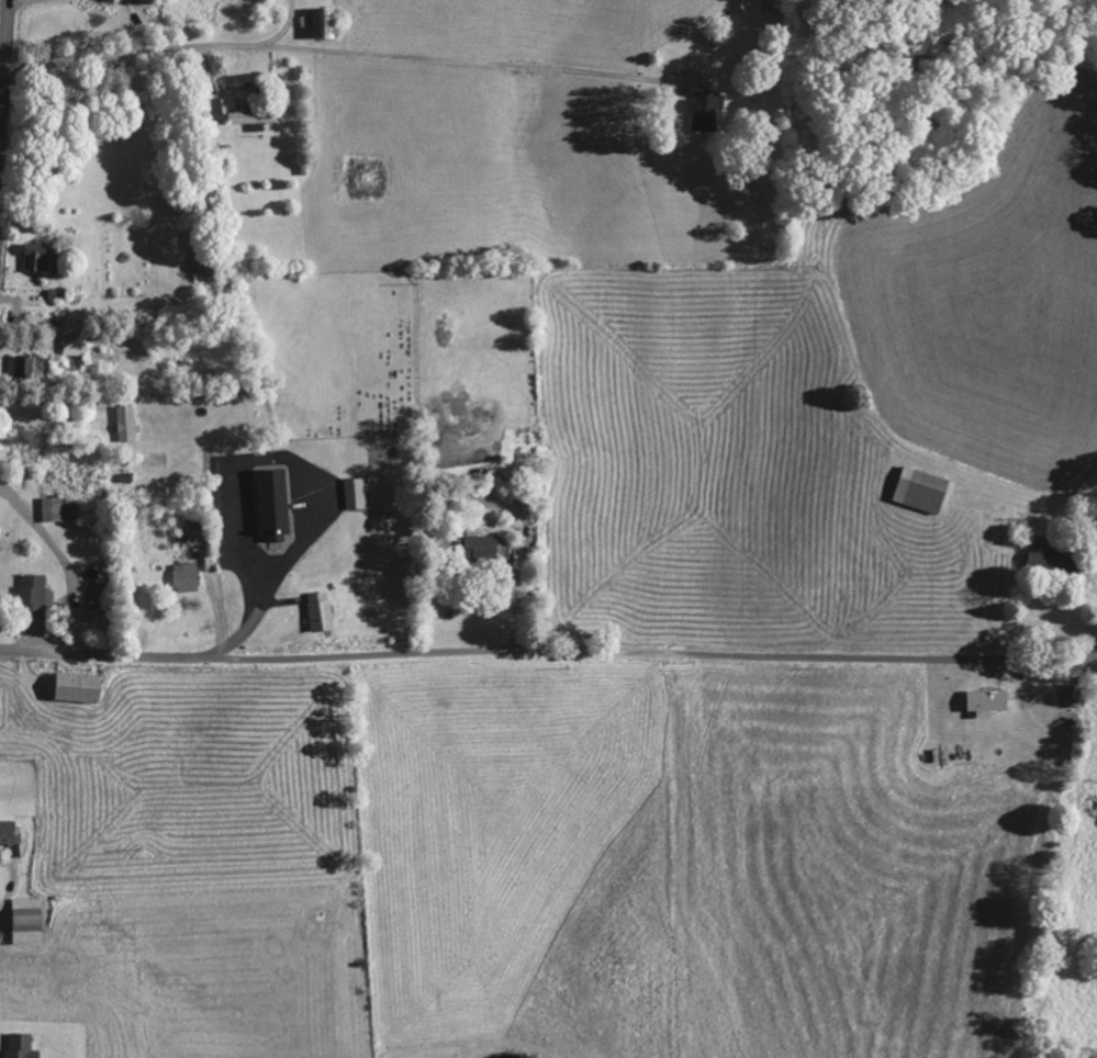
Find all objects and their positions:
building: (771, 7)
building: (325, 24)
road: (4, 71)
building: (706, 111)
building: (251, 117)
building: (43, 257)
building: (208, 268)
building: (76, 349)
building: (27, 367)
road: (79, 382)
building: (127, 423)
building: (925, 489)
building: (352, 493)
building: (277, 505)
building: (55, 509)
building: (199, 536)
building: (481, 547)
building: (1056, 561)
building: (188, 577)
building: (34, 595)
building: (322, 611)
road: (550, 651)
building: (81, 687)
building: (1076, 695)
building: (989, 701)
building: (11, 832)
building: (30, 921)
building: (23, 1047)

